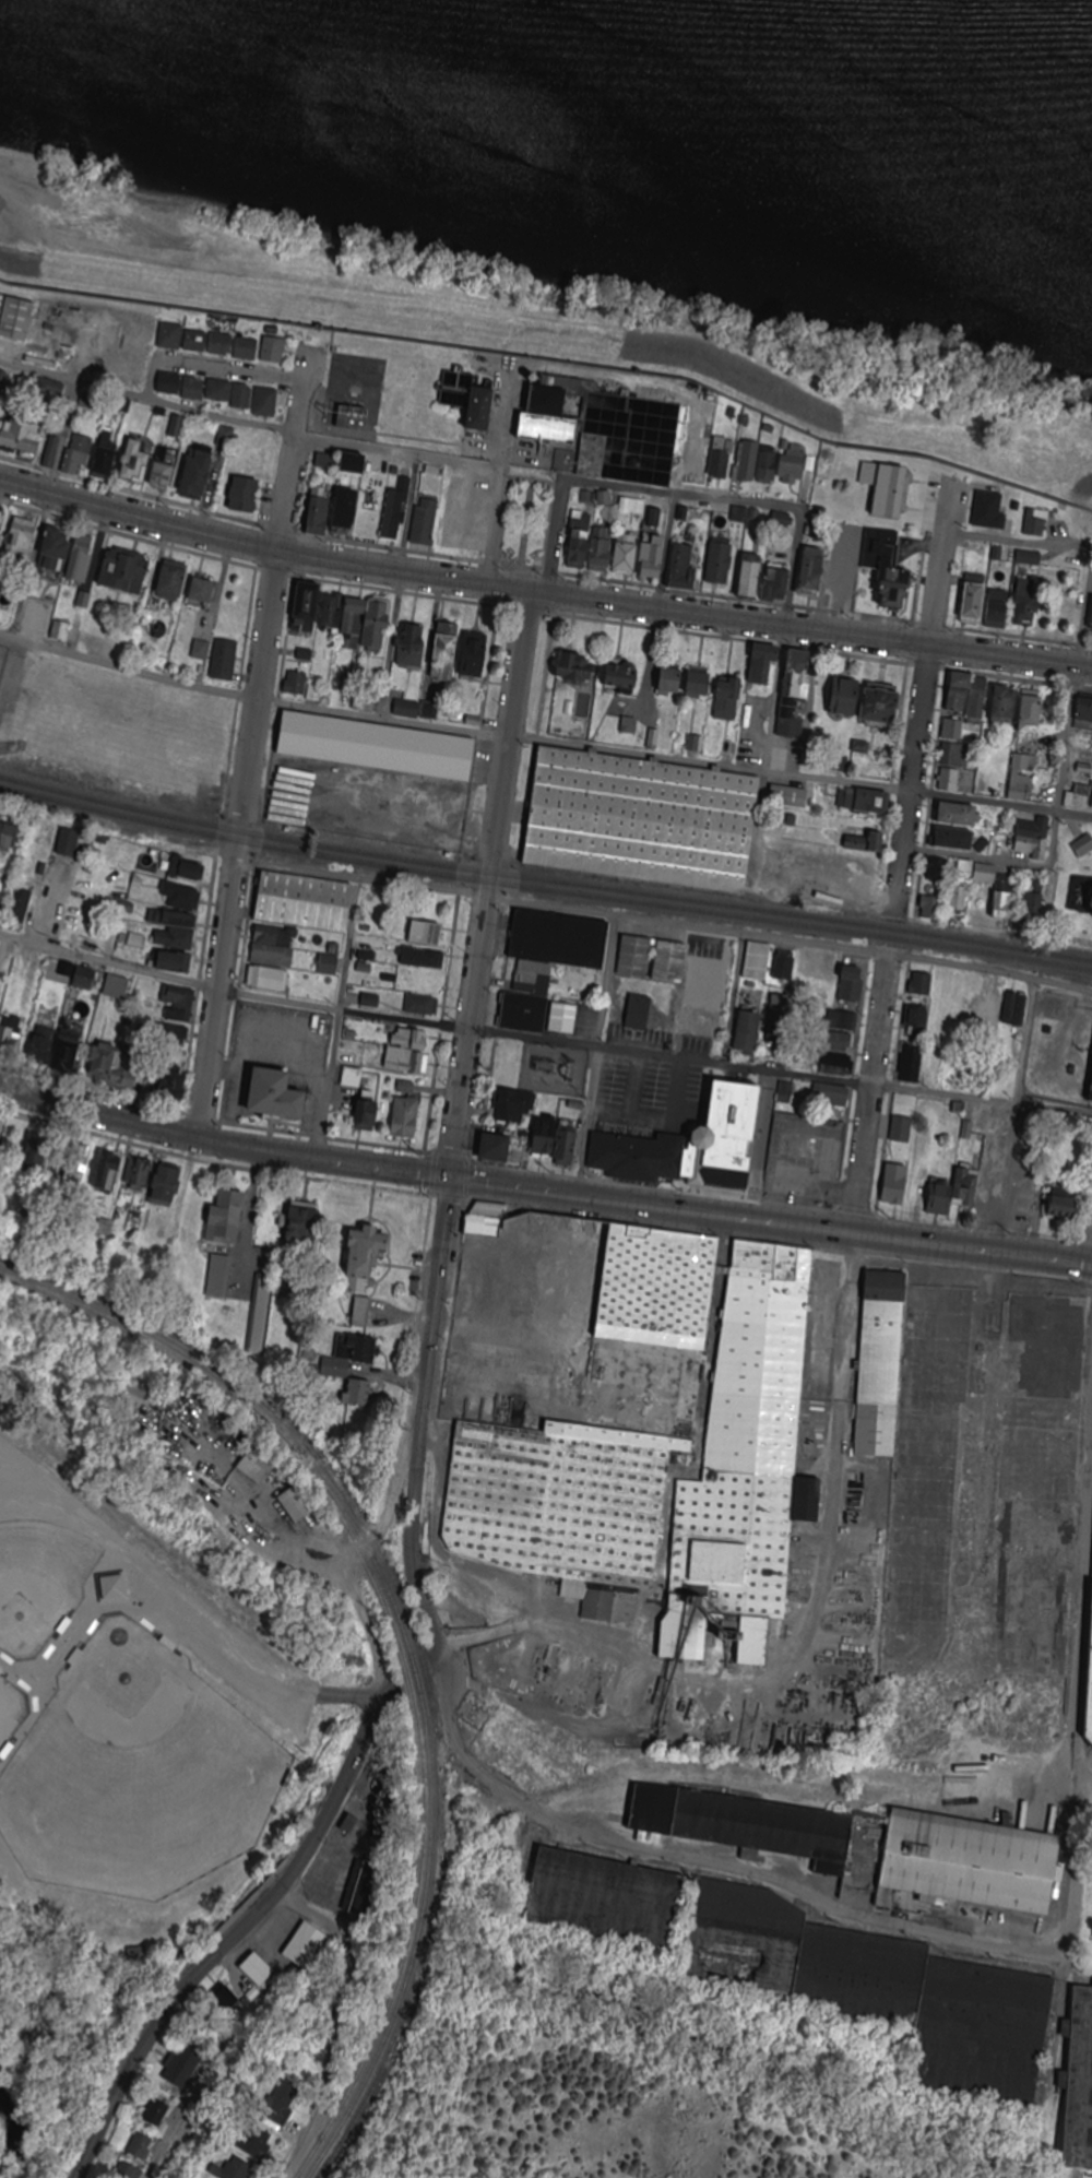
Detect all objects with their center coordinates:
building: (275, 352)
road: (210, 368)
road: (304, 370)
road: (146, 398)
building: (484, 411)
road: (698, 414)
building: (550, 419)
building: (723, 460)
road: (453, 464)
building: (758, 466)
building: (795, 469)
road: (532, 477)
road: (618, 488)
building: (889, 490)
road: (740, 502)
road: (46, 510)
building: (1037, 524)
park: (526, 526)
road: (554, 537)
road: (1073, 549)
road: (542, 592)
road: (775, 689)
road: (922, 699)
road: (543, 742)
building: (367, 747)
road: (248, 759)
building: (645, 821)
road: (1053, 841)
building: (1083, 845)
railway: (544, 881)
road: (490, 885)
park: (1067, 885)
railway: (544, 892)
road: (664, 922)
building: (561, 940)
road: (337, 1019)
road: (543, 1041)
road: (1023, 1043)
road: (596, 1056)
power substation: (557, 1072)
road: (723, 1074)
road: (871, 1096)
road: (543, 1191)
building: (487, 1220)
building: (650, 1290)
building: (874, 1360)
road: (427, 1416)
building: (749, 1461)
building: (558, 1507)
park: (36, 1574)
road: (183, 1618)
railway: (395, 1640)
road: (436, 1654)
flagpole: (38, 1680)
park: (4, 1708)
park: (136, 1713)
building: (1091, 1731)
park: (136, 1788)
building: (743, 1826)
road: (703, 1861)
road: (1076, 1861)
building: (974, 1862)
building: (609, 1899)
road: (240, 1931)
building: (880, 1989)
road: (199, 2083)
building: (1082, 2084)

